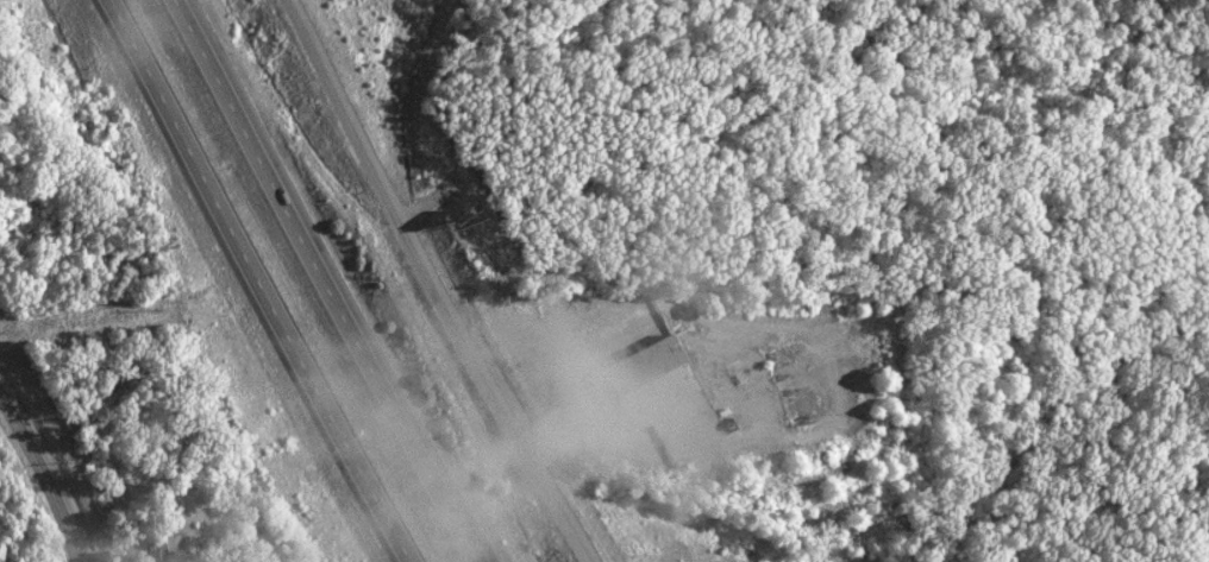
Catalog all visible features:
road: (259, 280)
road: (322, 280)
road: (432, 283)
building: (644, 380)
building: (685, 437)
road: (43, 478)

